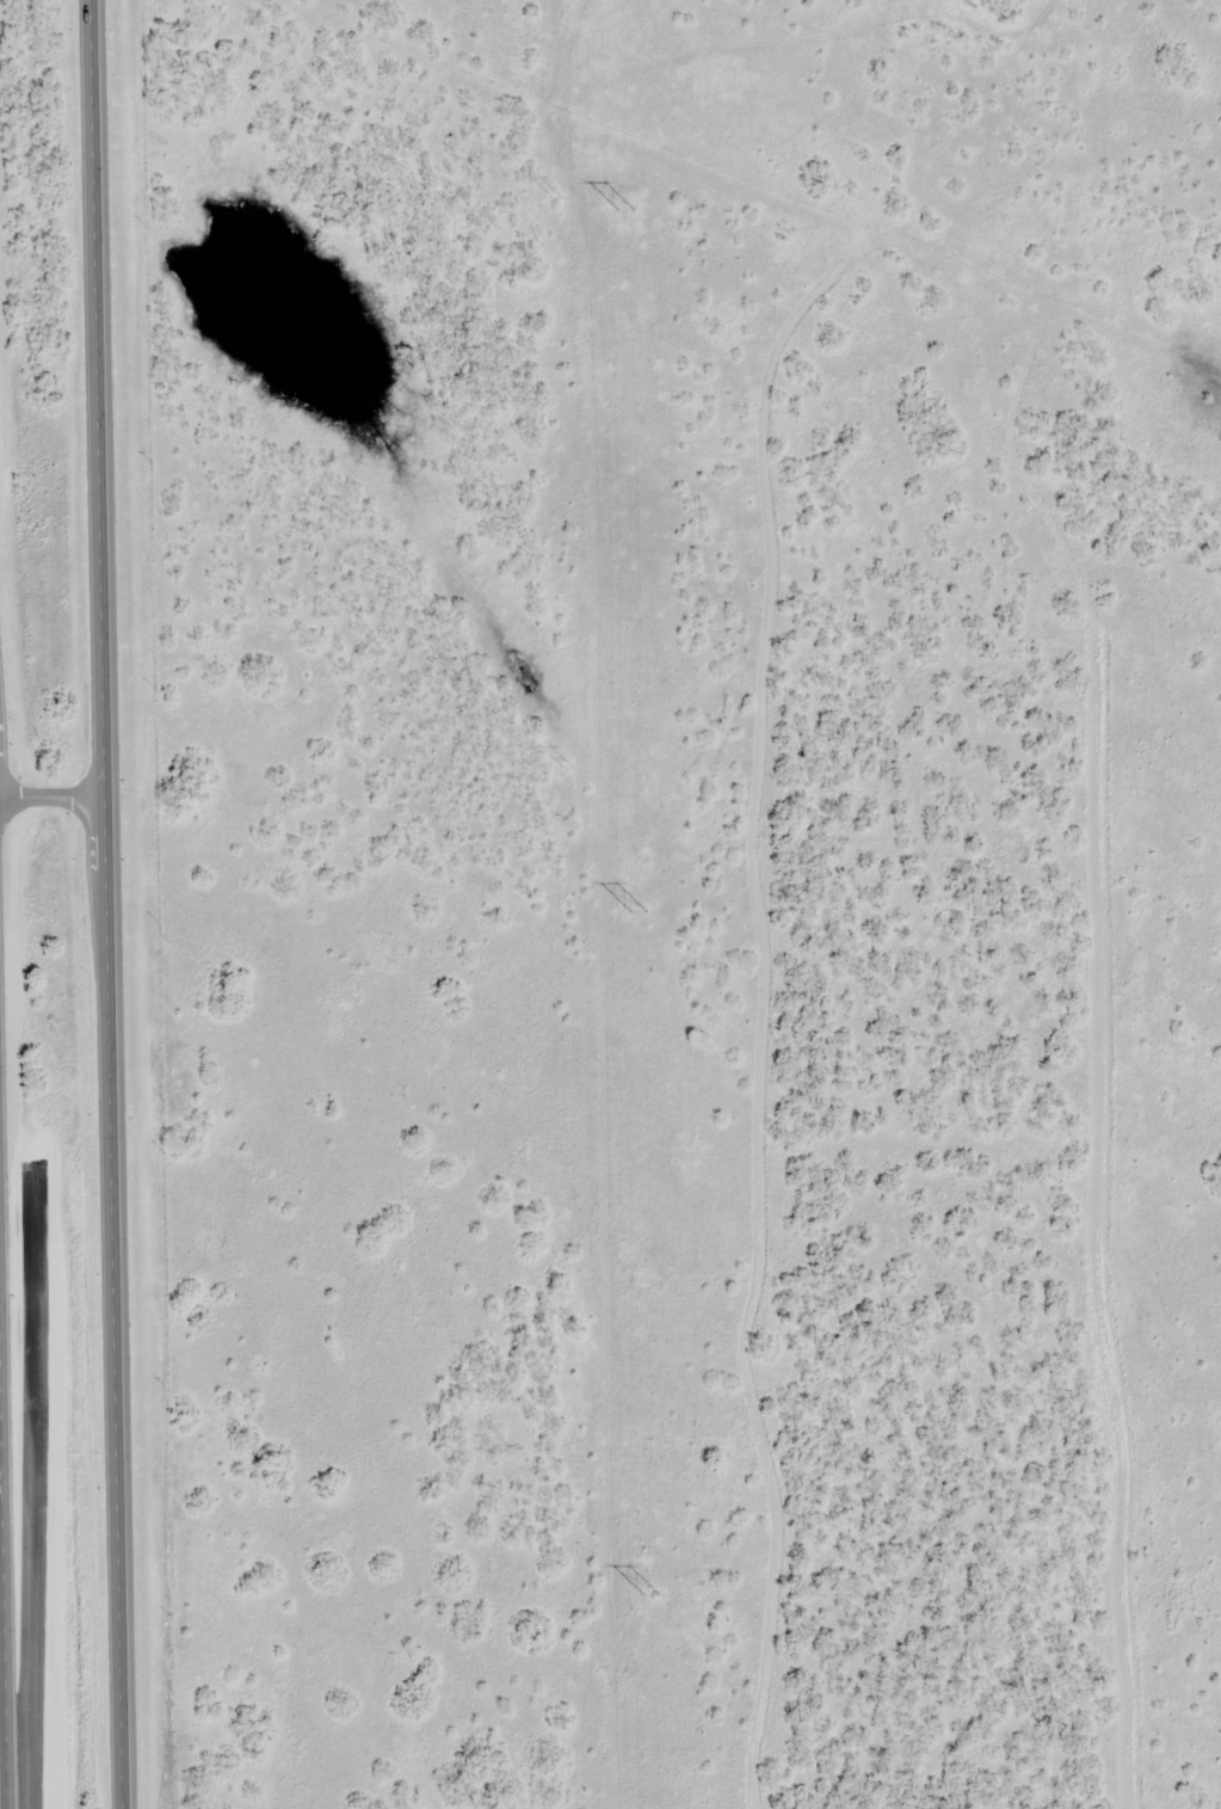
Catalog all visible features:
power tower: (557, 196)
power tower: (622, 210)
power tower: (568, 767)
road: (51, 796)
road: (105, 904)
power tower: (634, 912)
power tower: (579, 1328)
road: (31, 1491)
power tower: (646, 1595)
road: (2, 1641)

